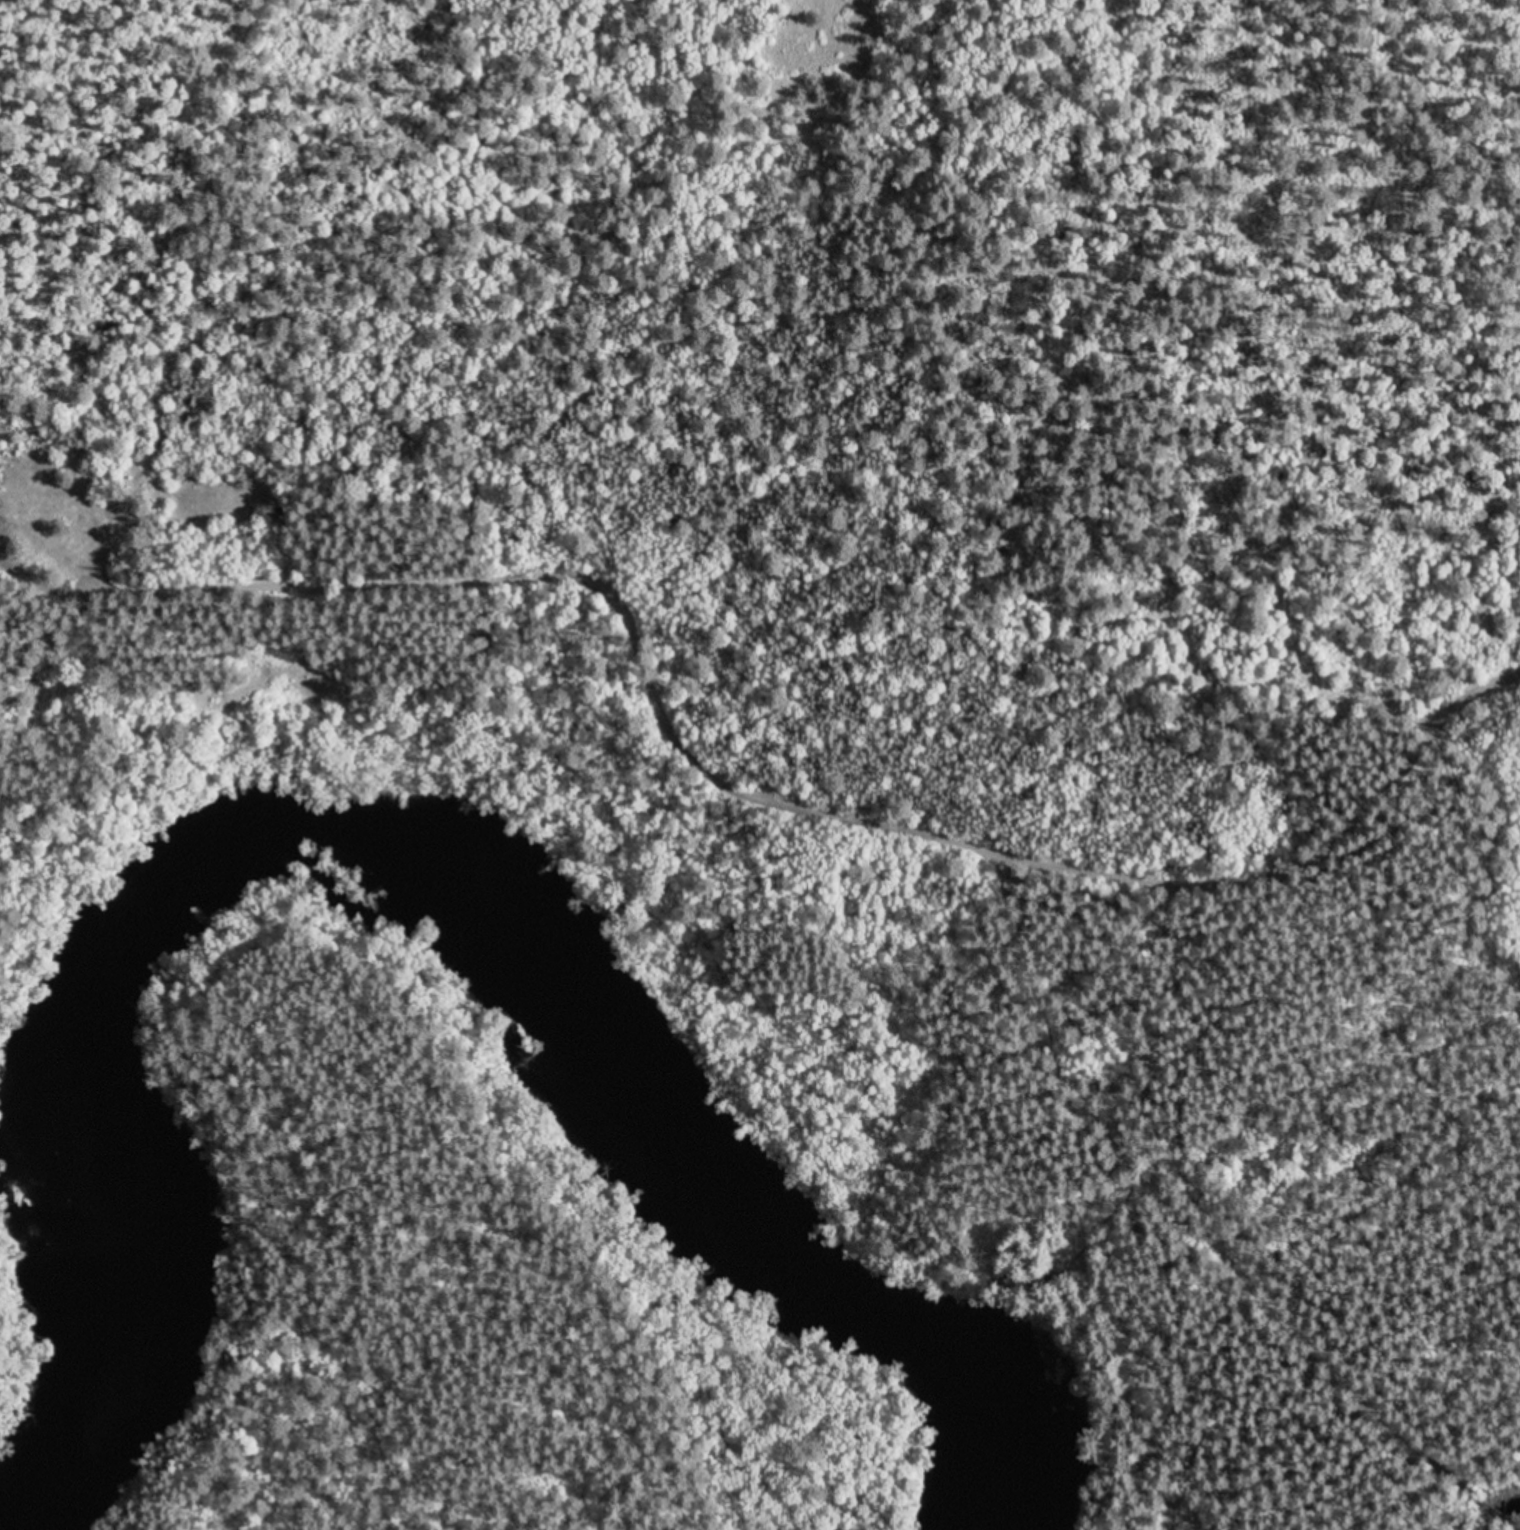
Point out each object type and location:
road: (740, 772)
river: (423, 836)

